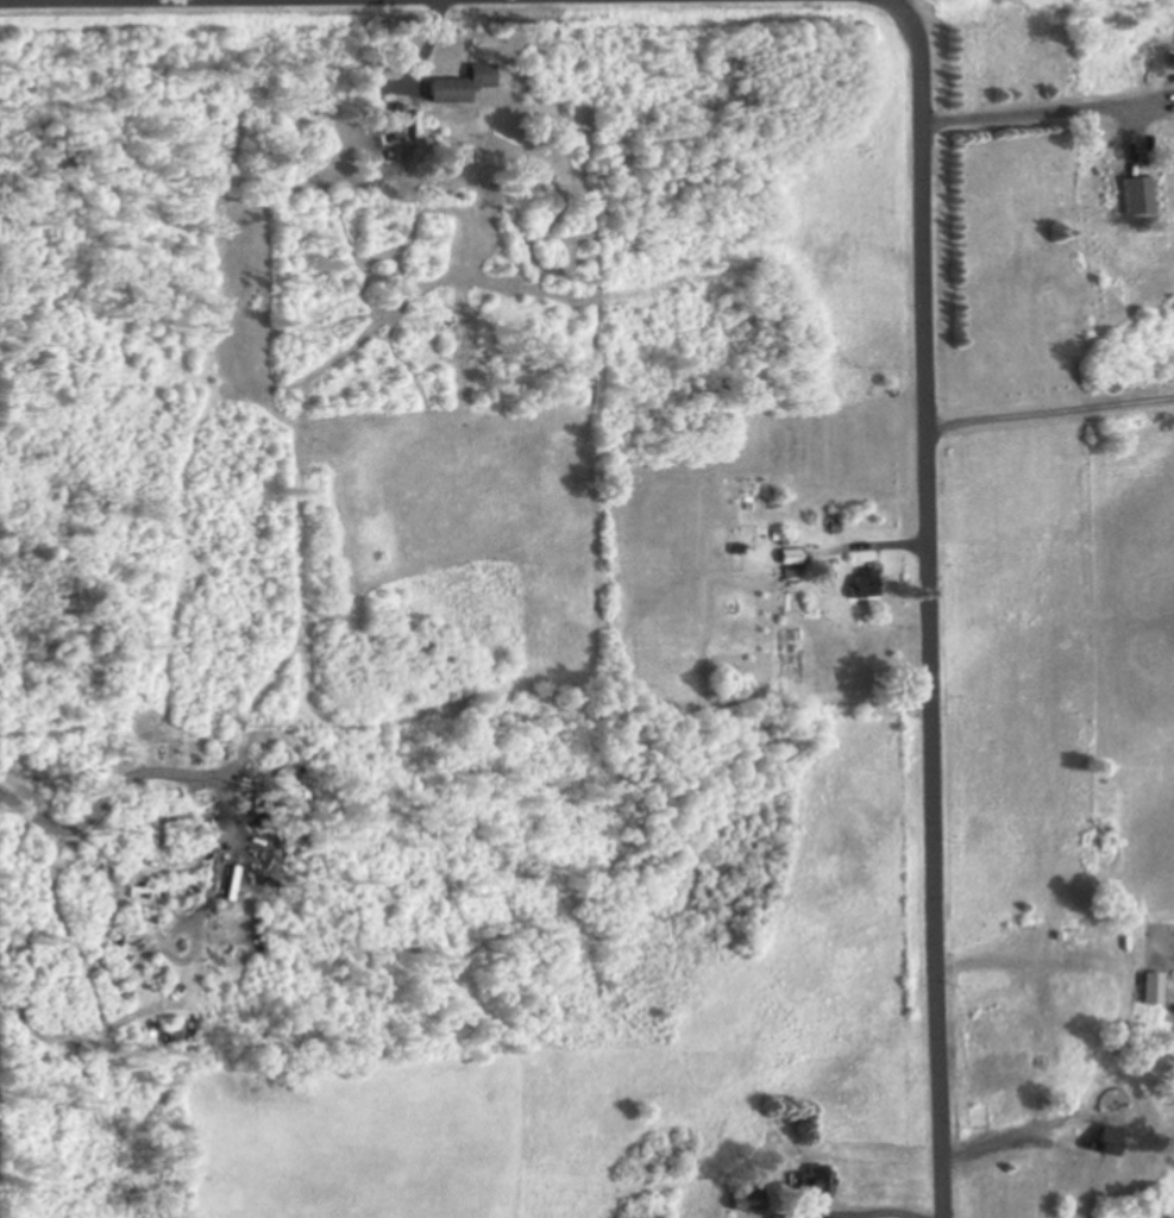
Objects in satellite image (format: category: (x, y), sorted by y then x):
road: (142, 1)
road: (896, 7)
building: (454, 87)
building: (391, 127)
building: (1134, 196)
road: (1049, 413)
building: (858, 586)
road: (929, 615)
building: (1140, 792)

